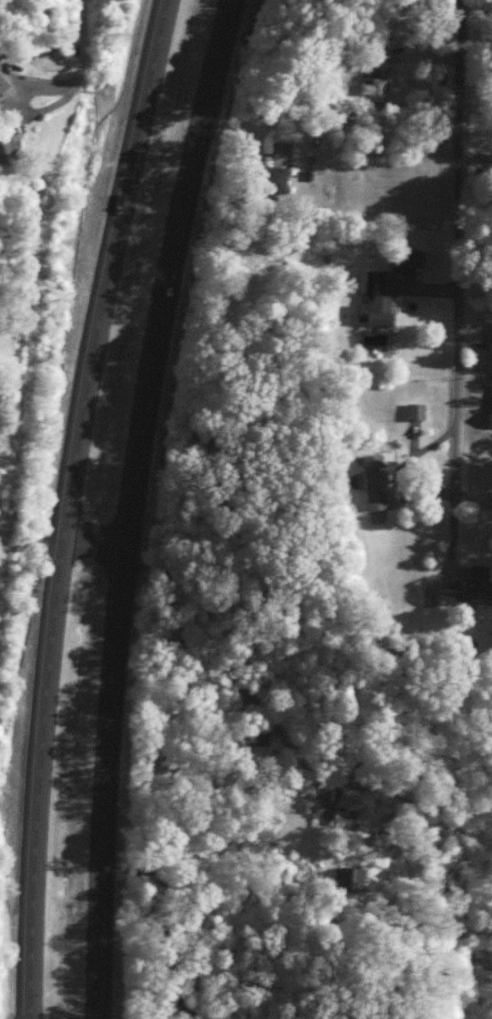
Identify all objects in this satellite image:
building: (374, 64)
road: (79, 70)
building: (1, 83)
building: (369, 89)
building: (263, 178)
building: (402, 256)
road: (457, 296)
building: (372, 299)
building: (490, 345)
building: (412, 410)
road: (397, 474)
building: (367, 480)
road: (123, 503)
road: (65, 505)
road: (57, 534)
road: (2, 552)
building: (468, 586)
road: (216, 665)
building: (346, 798)
building: (339, 817)
building: (347, 878)

